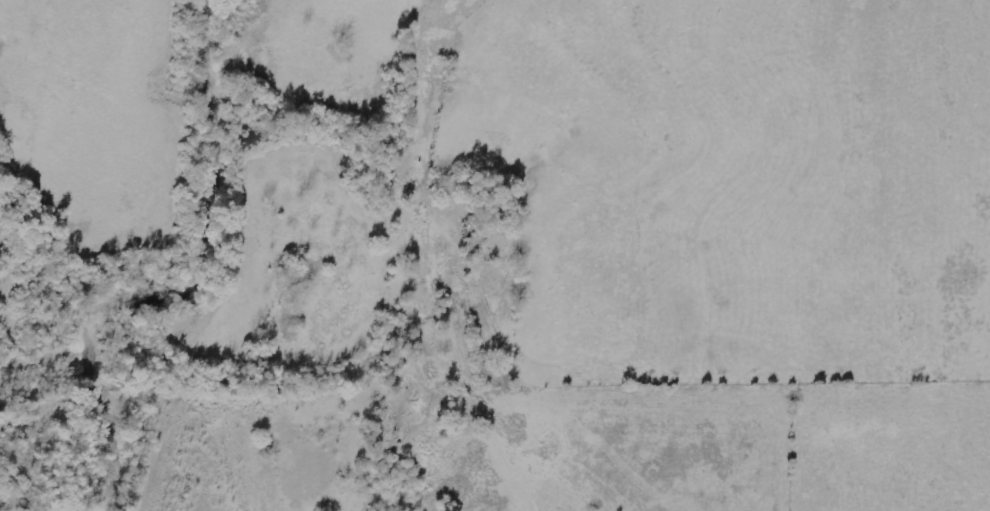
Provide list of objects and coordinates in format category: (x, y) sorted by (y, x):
road: (438, 79)

